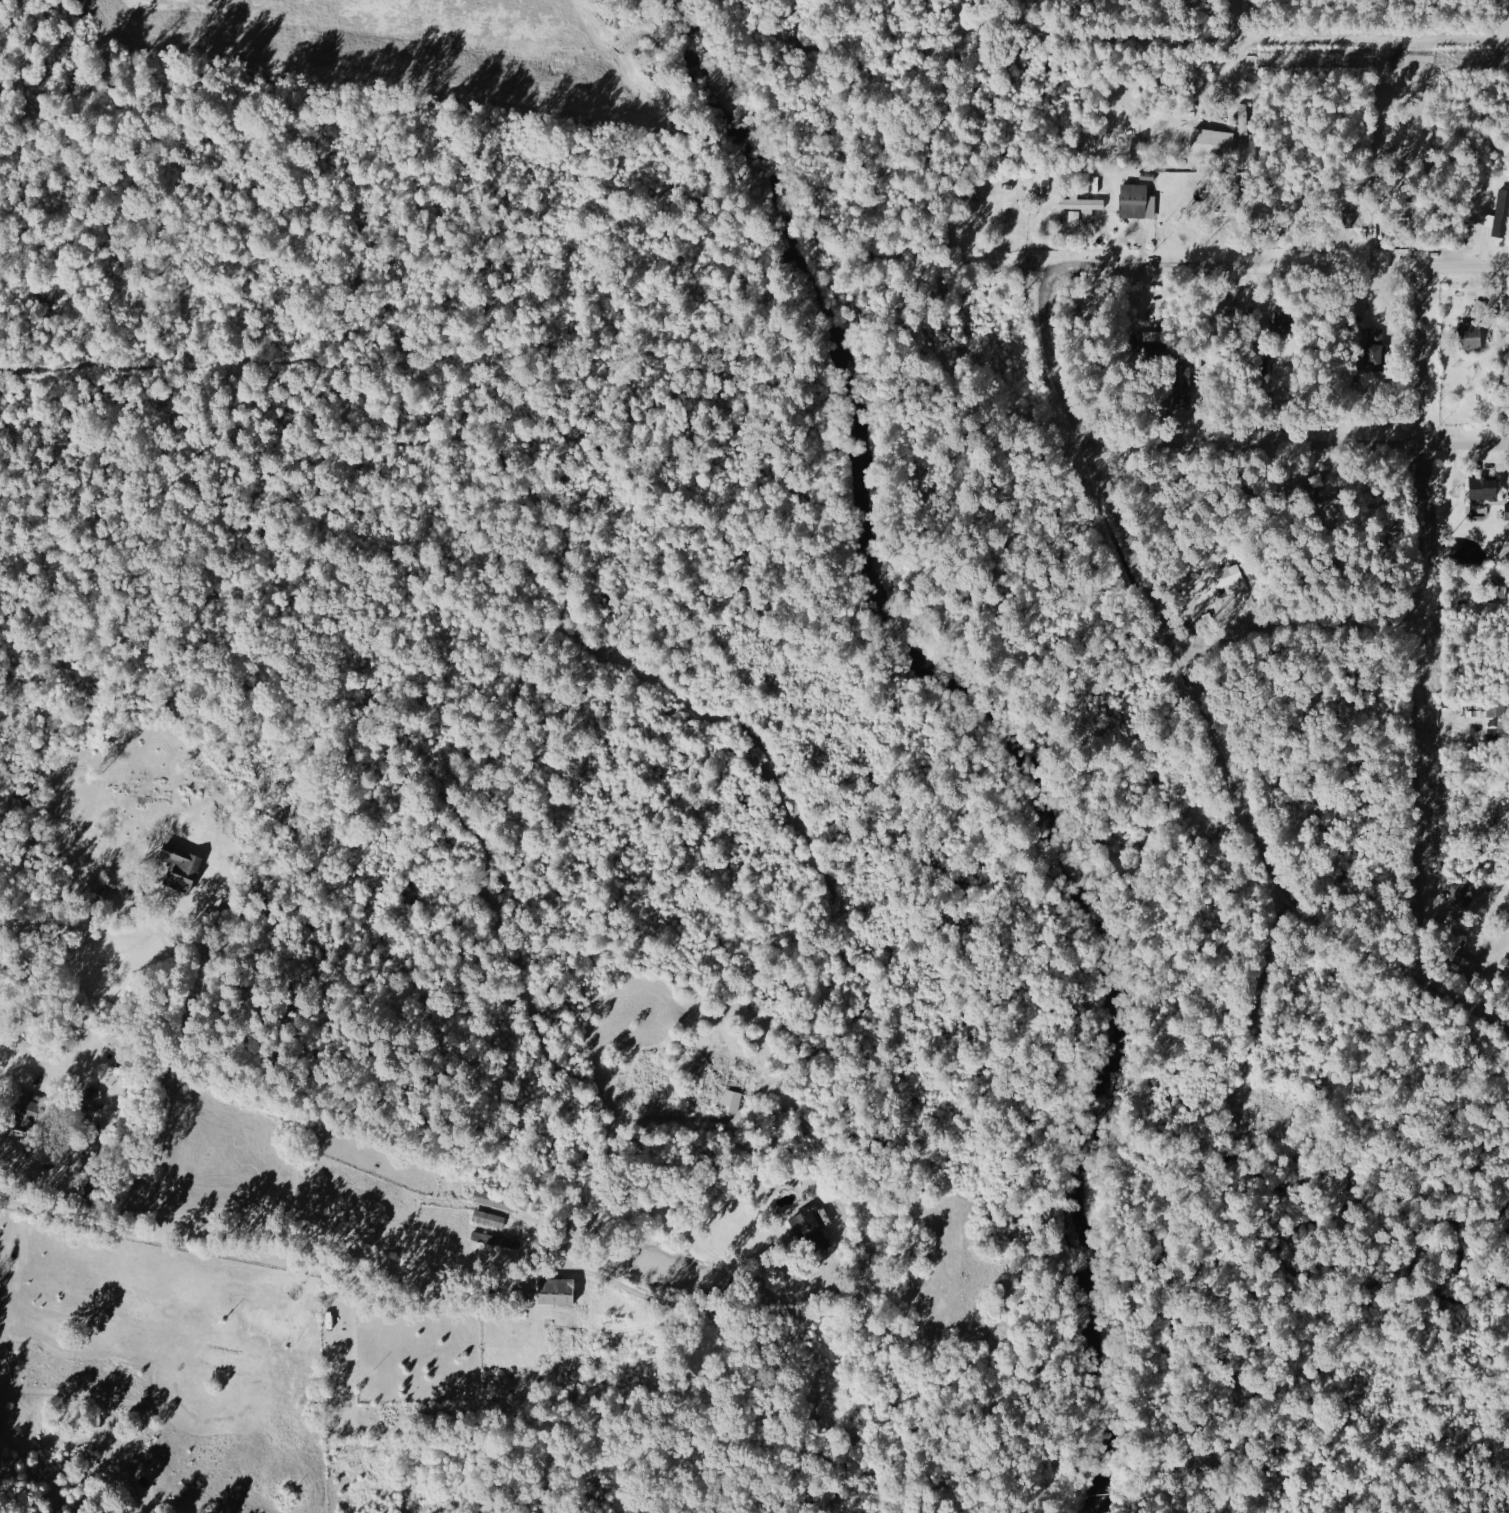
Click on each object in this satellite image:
road: (1241, 18)
road: (1508, 19)
road: (1273, 37)
building: (1212, 143)
building: (1136, 202)
building: (1080, 207)
building: (1406, 215)
building: (1352, 219)
road: (1227, 266)
building: (1280, 321)
building: (1469, 337)
building: (1151, 344)
building: (1374, 348)
building: (1183, 388)
road: (1293, 443)
building: (1483, 489)
building: (1507, 512)
building: (1507, 531)
building: (1231, 580)
building: (1498, 592)
road: (1295, 619)
road: (1423, 620)
road: (1189, 689)
river: (998, 713)
building: (1497, 717)
building: (180, 867)
building: (1461, 893)
road: (79, 927)
building: (1465, 965)
road: (1262, 983)
building: (90, 1101)
building: (734, 1101)
building: (778, 1123)
building: (495, 1201)
building: (805, 1226)
building: (491, 1234)
building: (554, 1291)
road: (392, 1296)

